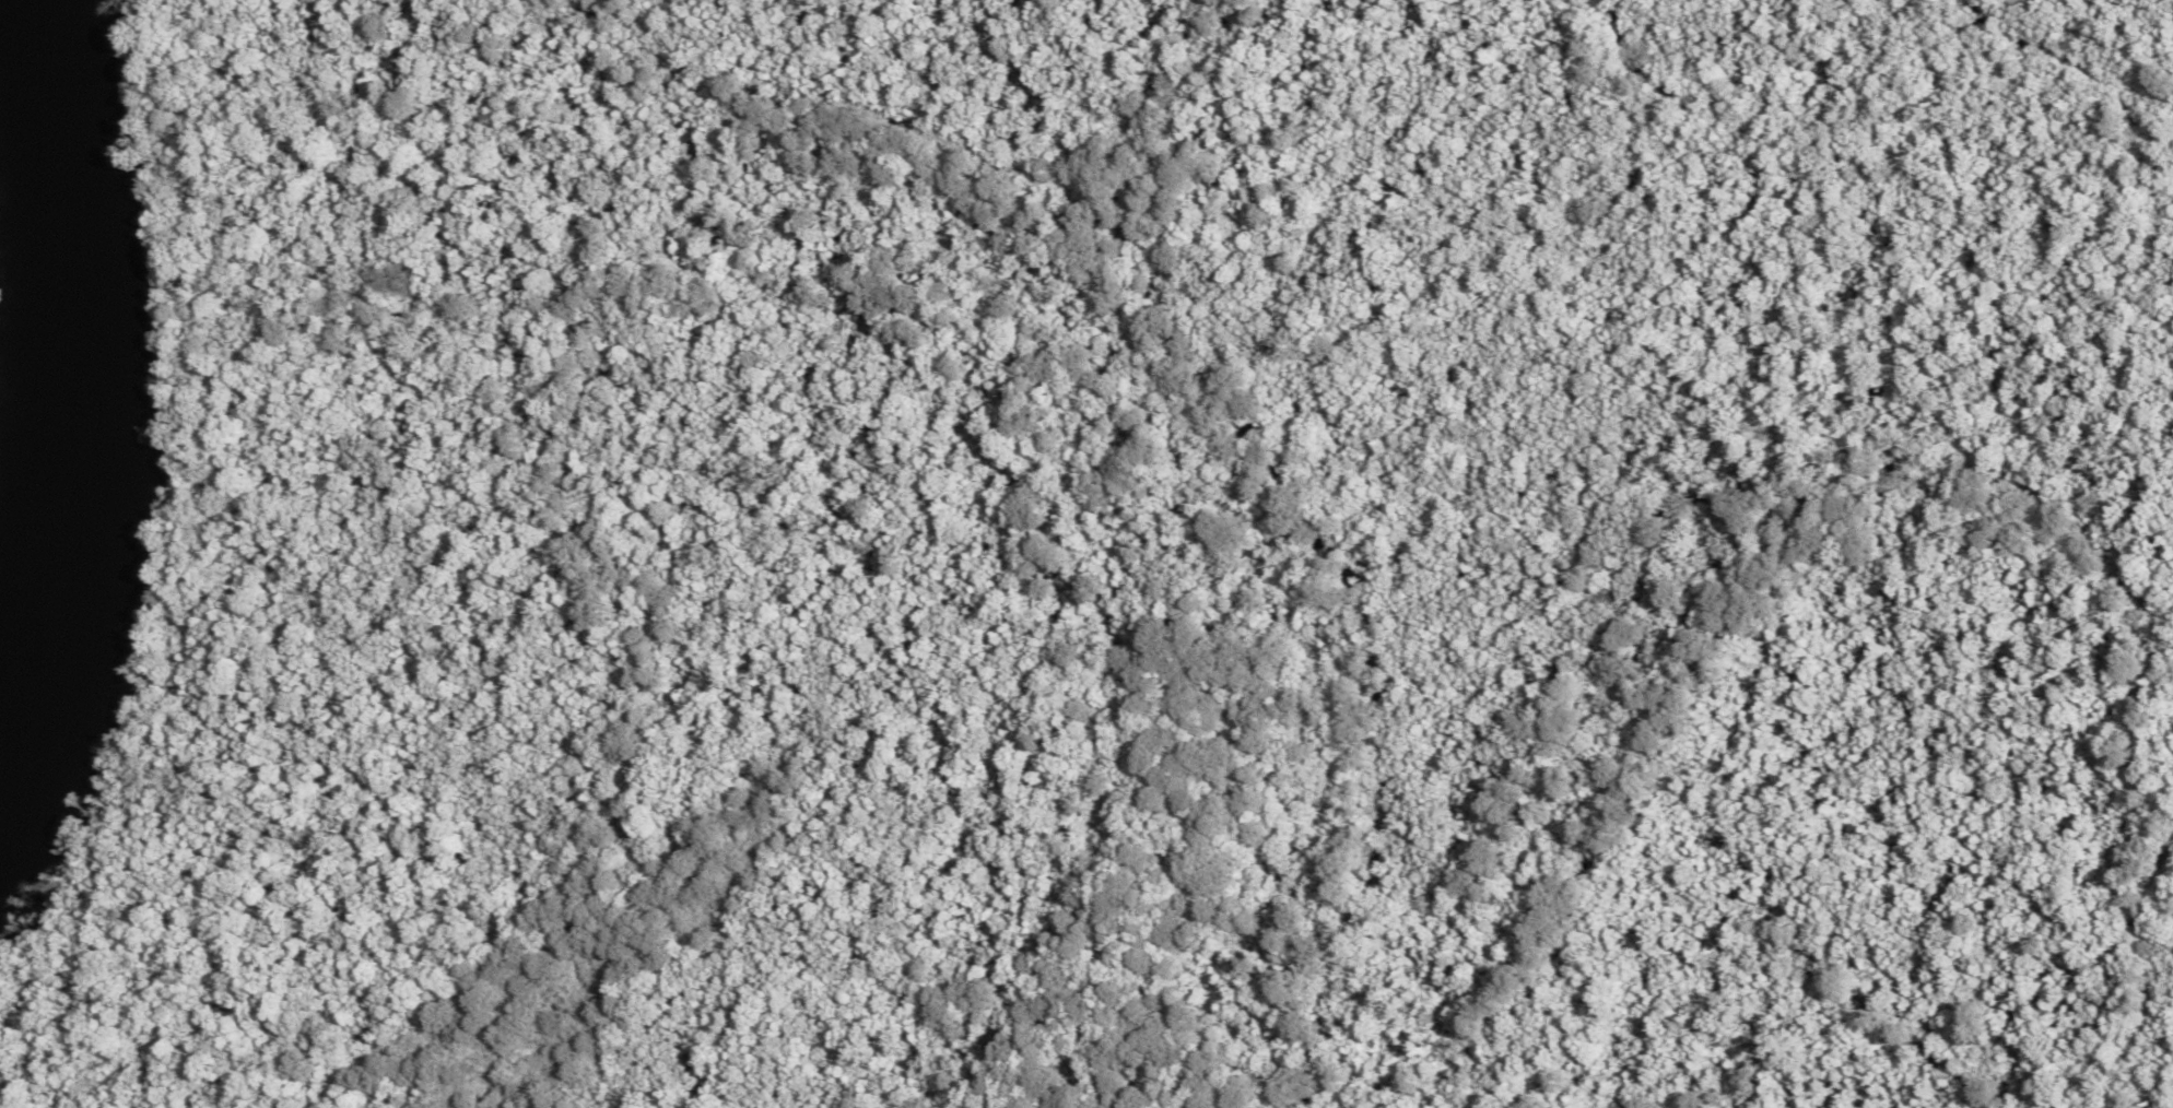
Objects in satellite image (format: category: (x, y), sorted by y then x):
river: (35, 308)

